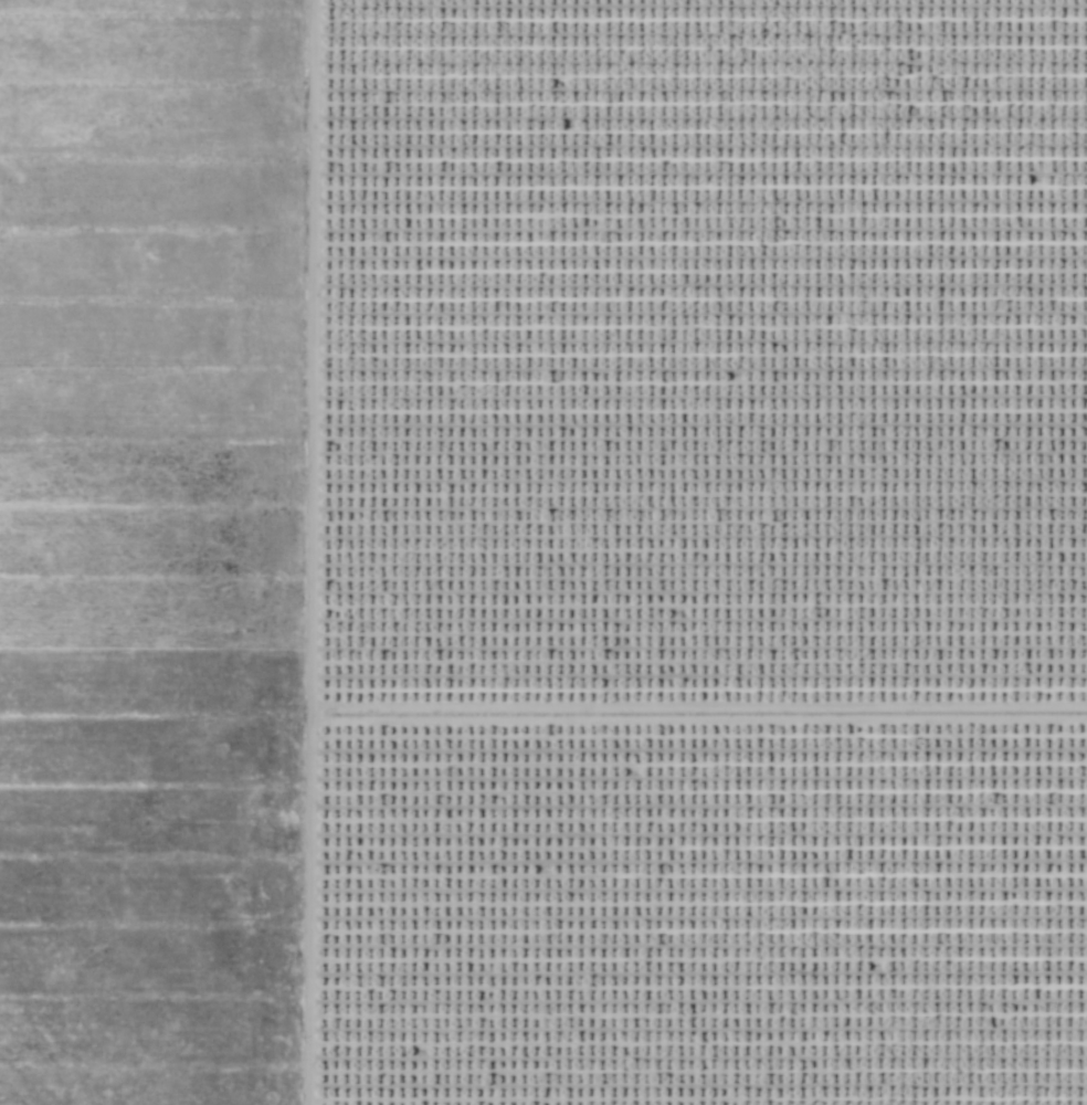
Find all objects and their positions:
crop: (150, 550)
road: (306, 551)
road: (696, 713)

